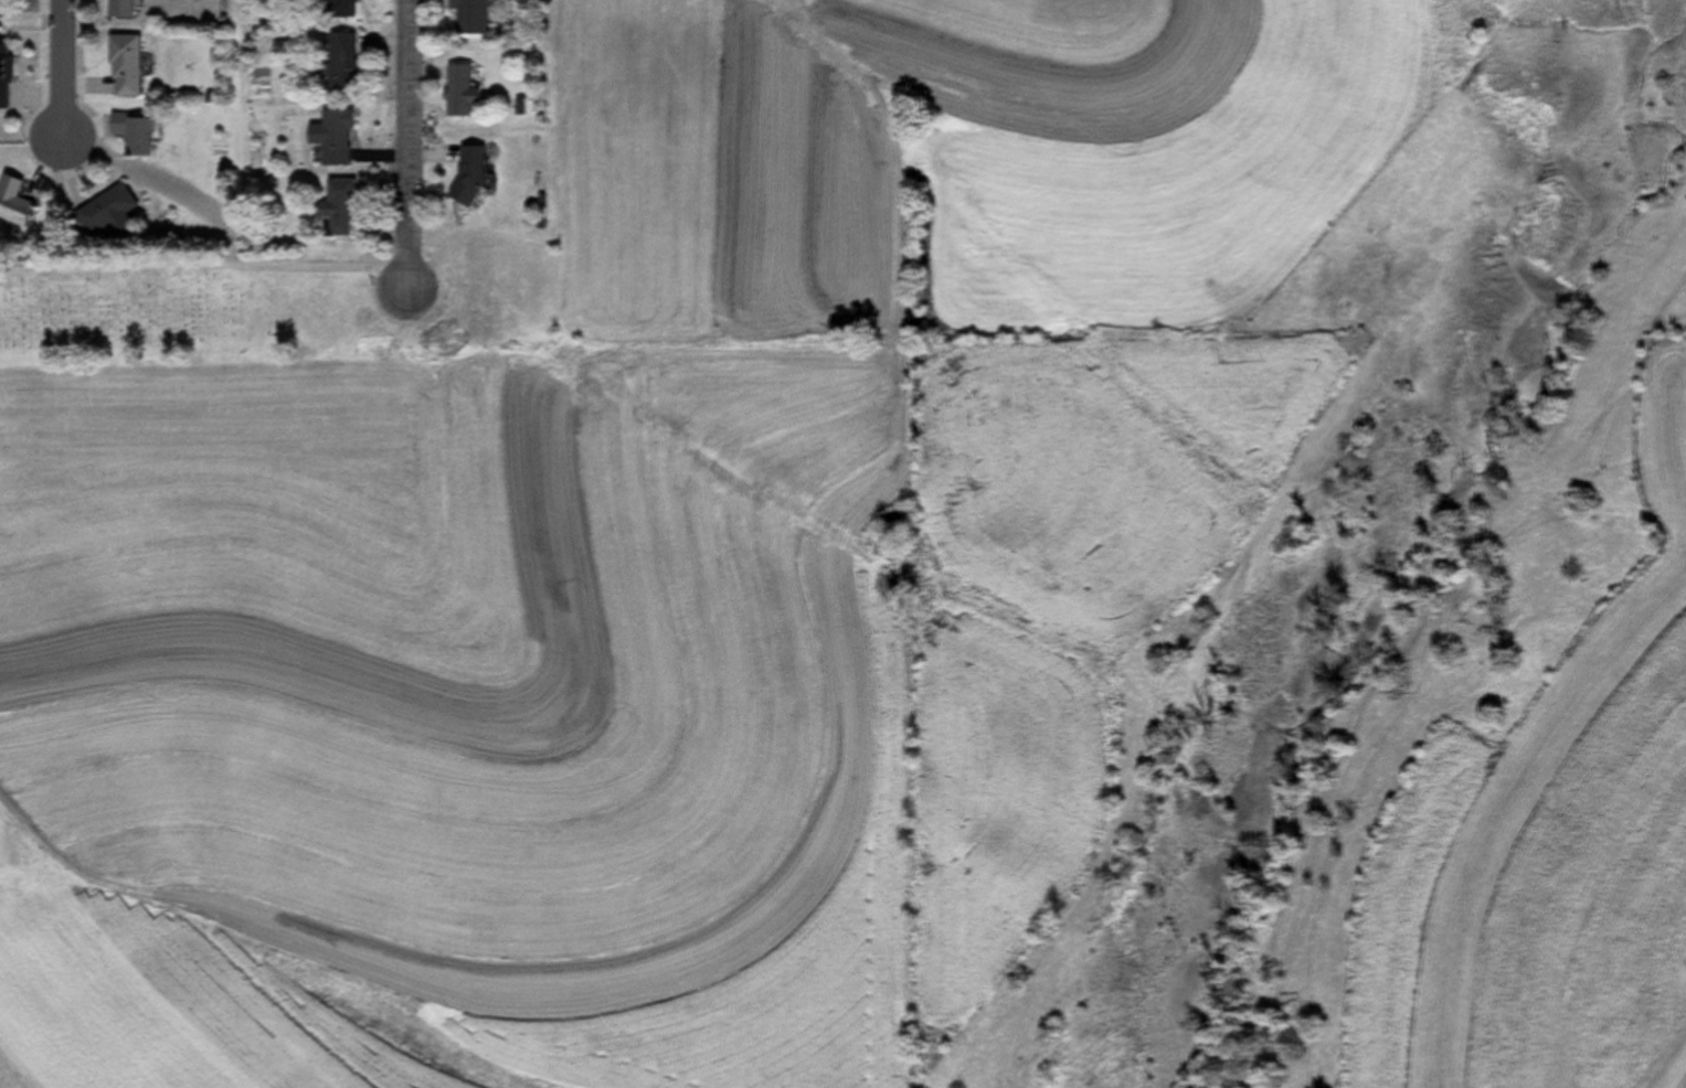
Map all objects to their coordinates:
building: (8, 7)
building: (126, 9)
building: (347, 9)
building: (478, 15)
building: (347, 63)
building: (129, 66)
road: (59, 71)
building: (8, 76)
building: (468, 92)
building: (137, 132)
building: (339, 137)
road: (405, 147)
building: (478, 173)
building: (15, 203)
building: (346, 205)
building: (109, 213)
road: (202, 268)
park: (195, 308)

